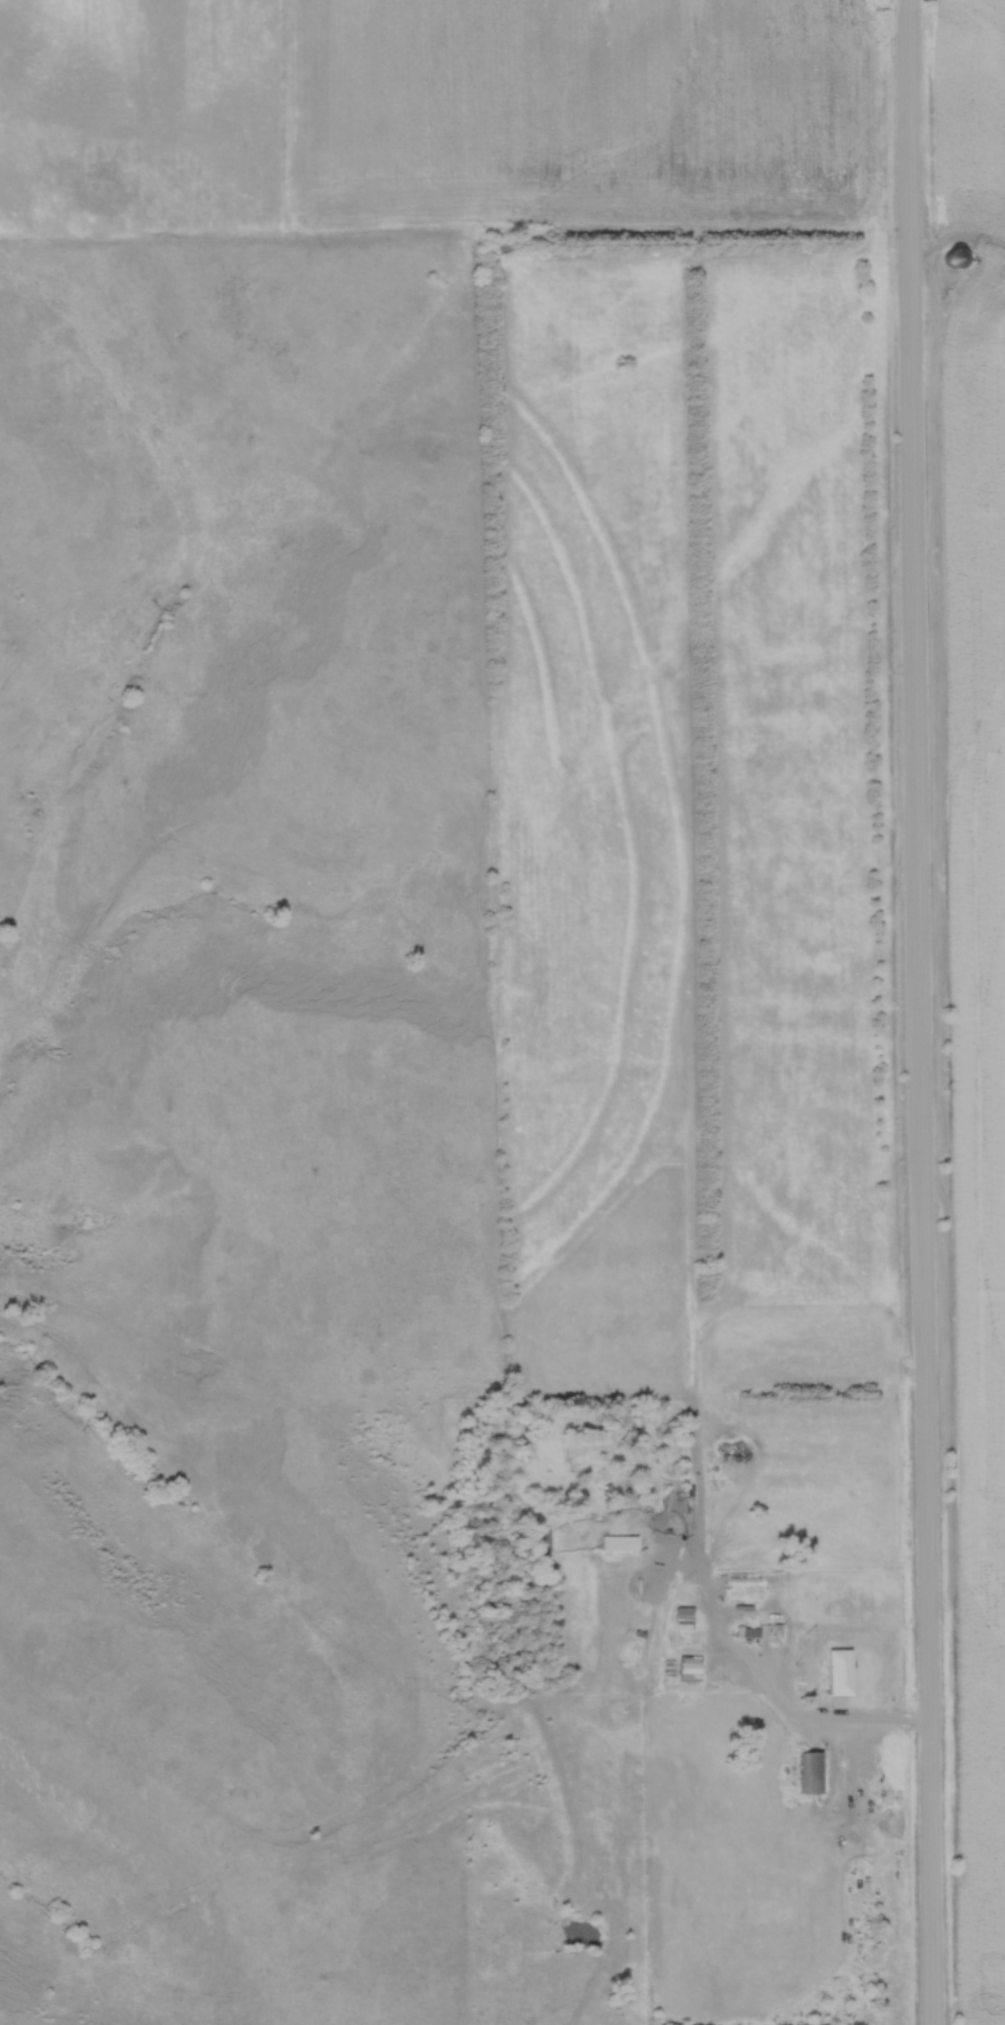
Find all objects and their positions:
building: (951, 258)
road: (918, 1012)
building: (536, 1543)
building: (616, 1543)
building: (835, 1672)
building: (808, 1772)

